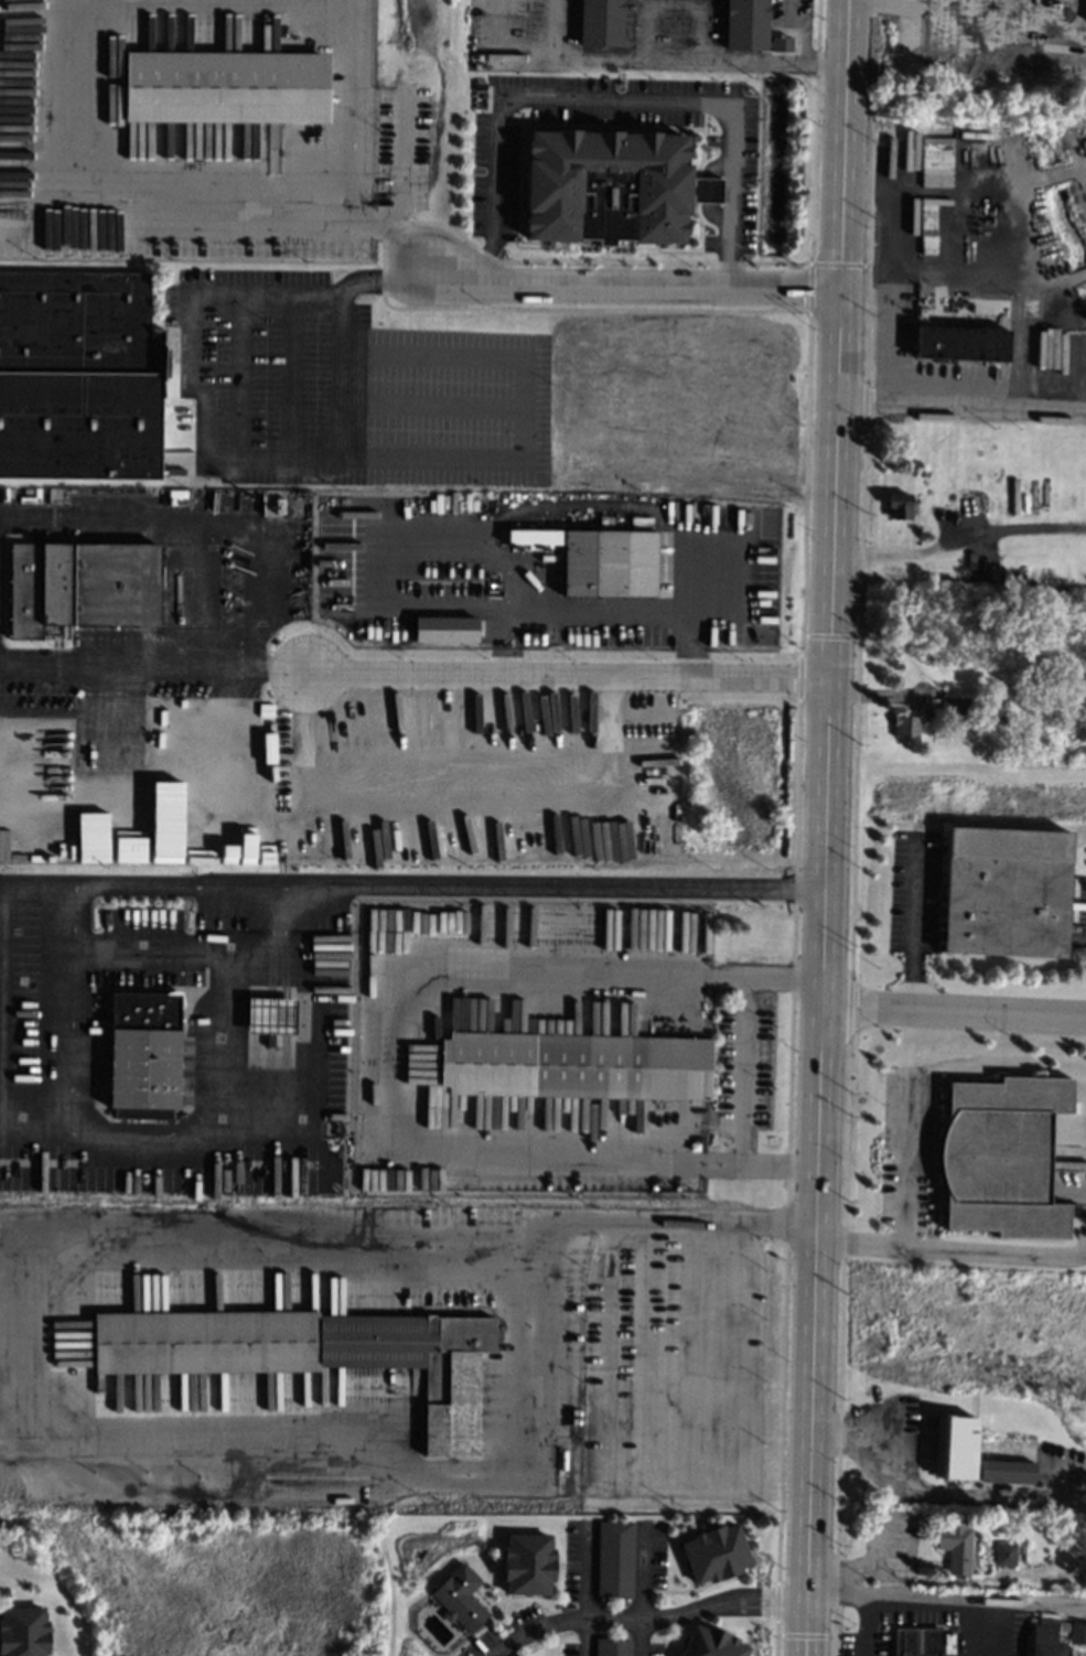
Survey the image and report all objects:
road: (674, 0)
road: (860, 2)
road: (885, 6)
road: (960, 13)
building: (600, 22)
building: (749, 25)
road: (795, 31)
parking lot: (631, 37)
road: (499, 54)
road: (351, 56)
road: (669, 60)
building: (1082, 75)
building: (480, 85)
building: (225, 86)
road: (607, 98)
road: (840, 143)
road: (352, 163)
parking lot: (498, 182)
building: (610, 185)
road: (401, 192)
road: (108, 213)
road: (372, 226)
building: (935, 232)
road: (374, 273)
road: (891, 275)
road: (630, 286)
building: (1047, 300)
building: (1031, 307)
building: (1053, 341)
building: (959, 343)
building: (79, 376)
parking lot: (350, 388)
road: (959, 407)
road: (241, 439)
building: (920, 472)
building: (56, 496)
building: (186, 497)
building: (967, 504)
building: (278, 505)
building: (899, 505)
road: (163, 520)
road: (956, 540)
building: (599, 558)
building: (79, 585)
building: (444, 628)
road: (250, 660)
road: (103, 666)
road: (563, 677)
building: (982, 698)
building: (958, 703)
building: (904, 727)
road: (98, 880)
road: (234, 882)
road: (548, 886)
building: (1006, 892)
road: (819, 903)
road: (276, 921)
road: (914, 925)
road: (148, 958)
road: (71, 1004)
road: (950, 1011)
building: (143, 1053)
building: (574, 1065)
road: (741, 1071)
road: (103, 1131)
building: (693, 1146)
building: (1001, 1155)
road: (905, 1165)
road: (949, 1252)
road: (11, 1297)
building: (313, 1354)
building: (954, 1448)
building: (1007, 1470)
road: (933, 1491)
building: (955, 1542)
building: (1021, 1548)
building: (716, 1552)
building: (1006, 1552)
building: (614, 1558)
building: (527, 1563)
road: (867, 1570)
road: (798, 1587)
building: (460, 1596)
road: (924, 1598)
road: (1040, 1603)
building: (566, 1605)
road: (641, 1617)
road: (868, 1626)
building: (22, 1632)
building: (1077, 1632)
road: (585, 1636)
road: (639, 1636)
building: (1044, 1638)
building: (915, 1641)
building: (712, 1643)
building: (612, 1646)
building: (524, 1655)

